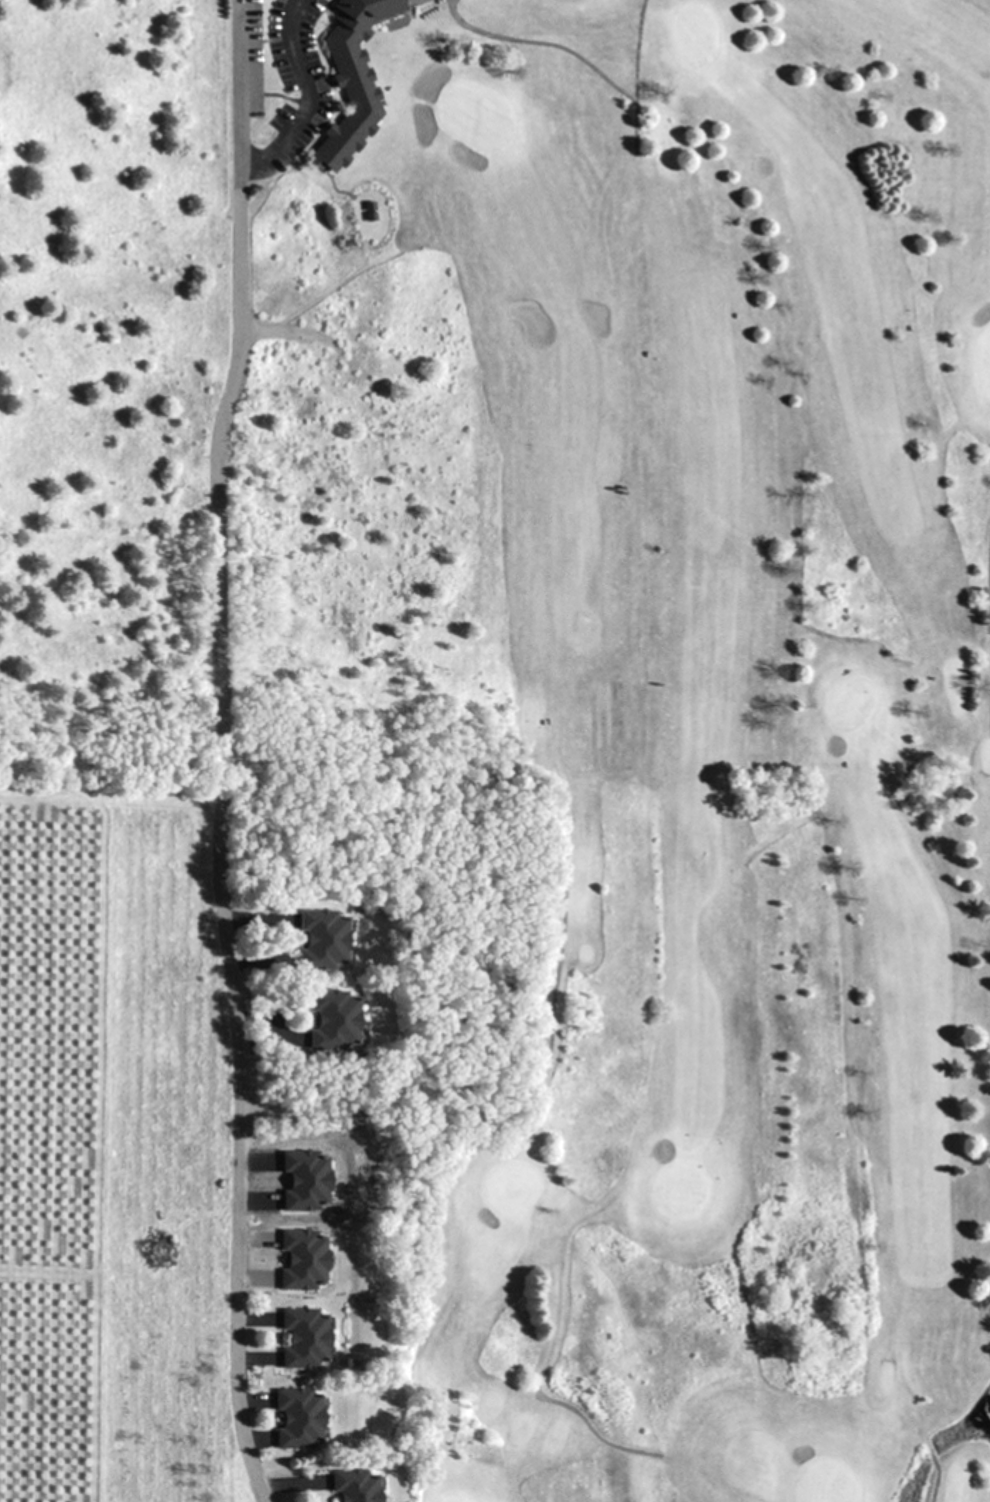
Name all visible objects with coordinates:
building: (348, 80)
park: (604, 728)
road: (218, 752)
building: (319, 939)
building: (330, 1019)
building: (302, 1179)
building: (301, 1258)
building: (301, 1337)
building: (296, 1417)
building: (352, 1485)

